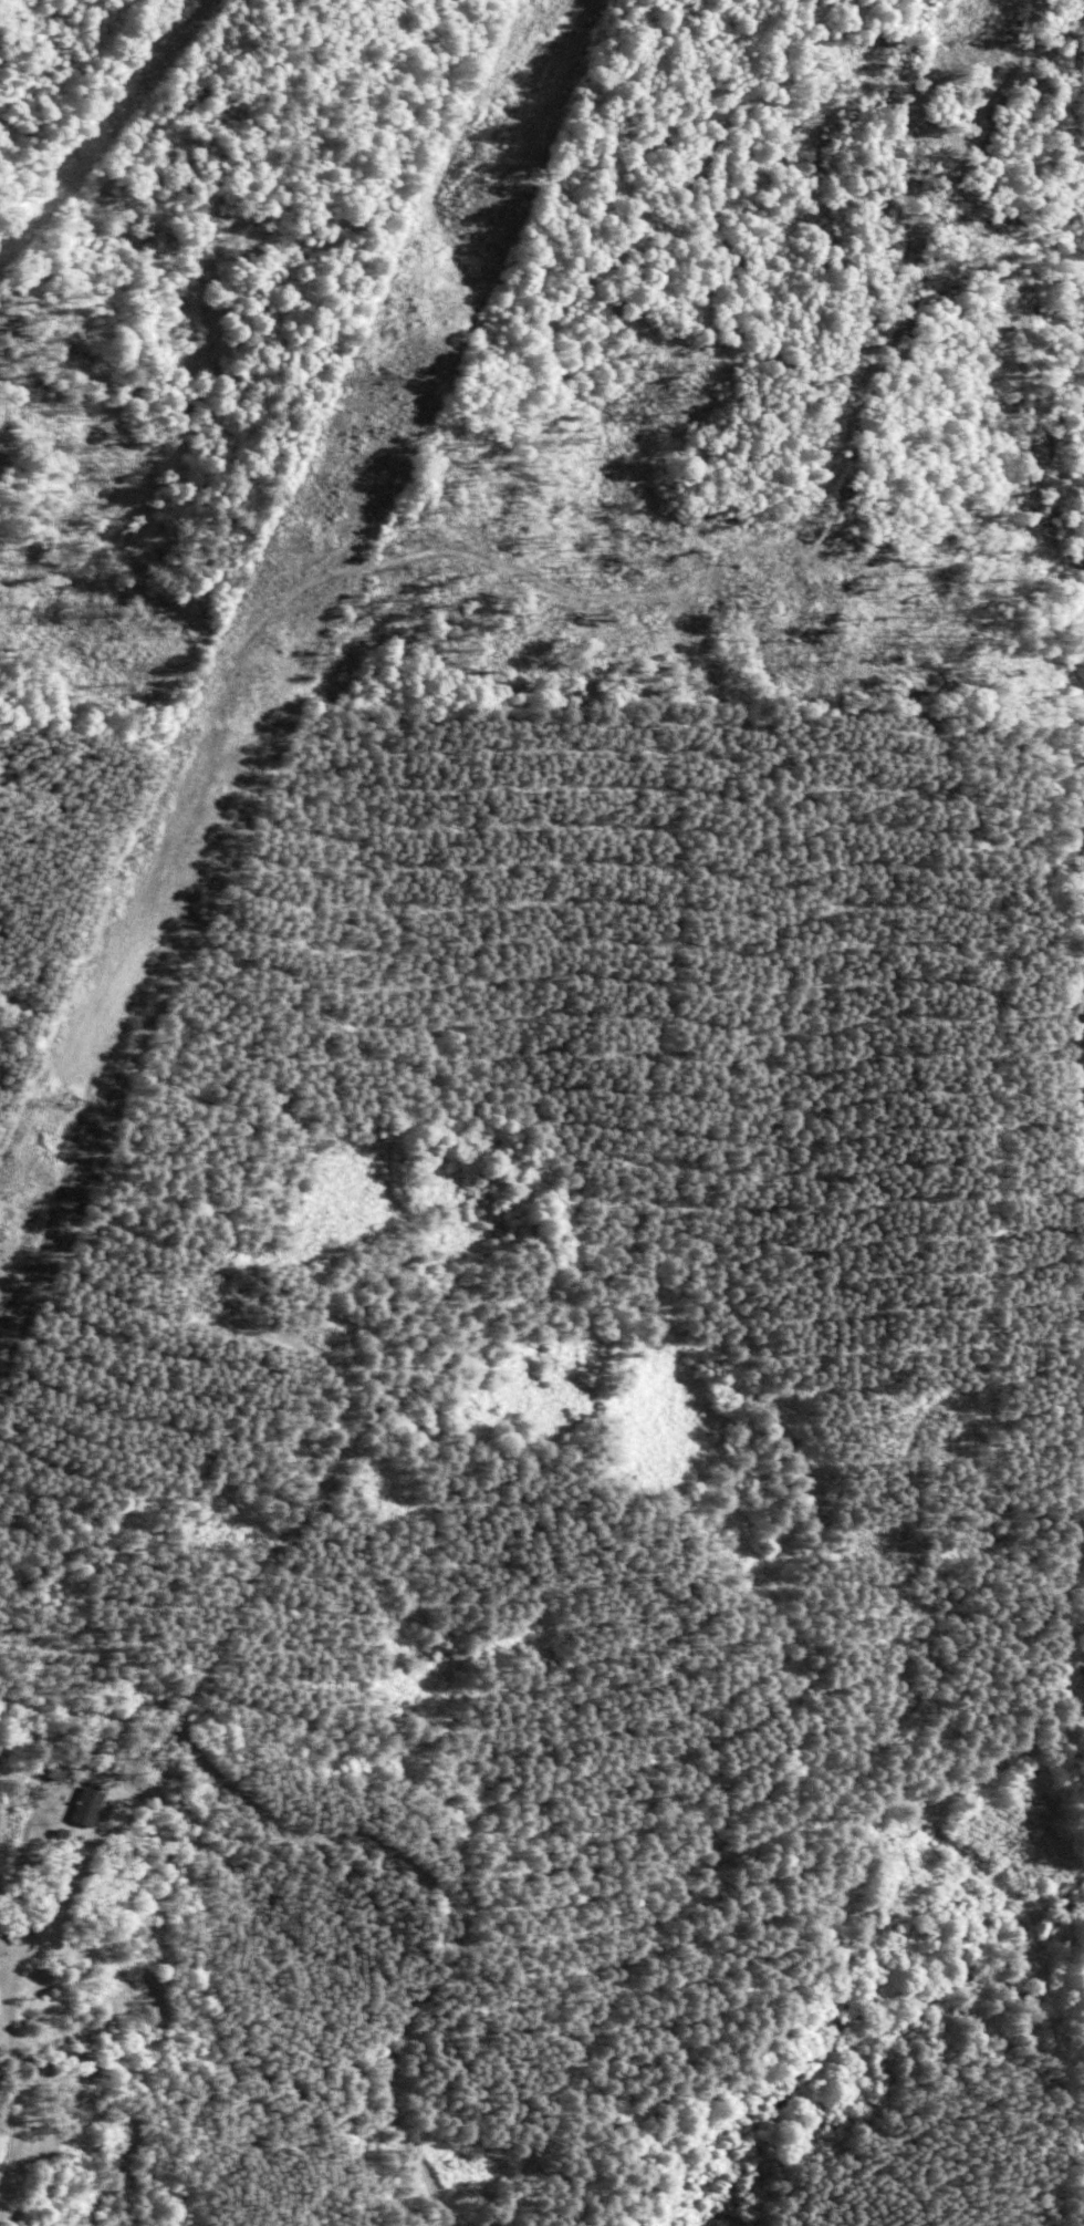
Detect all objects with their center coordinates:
power tower: (386, 379)
power tower: (59, 1099)
building: (77, 1808)
road: (60, 1988)

